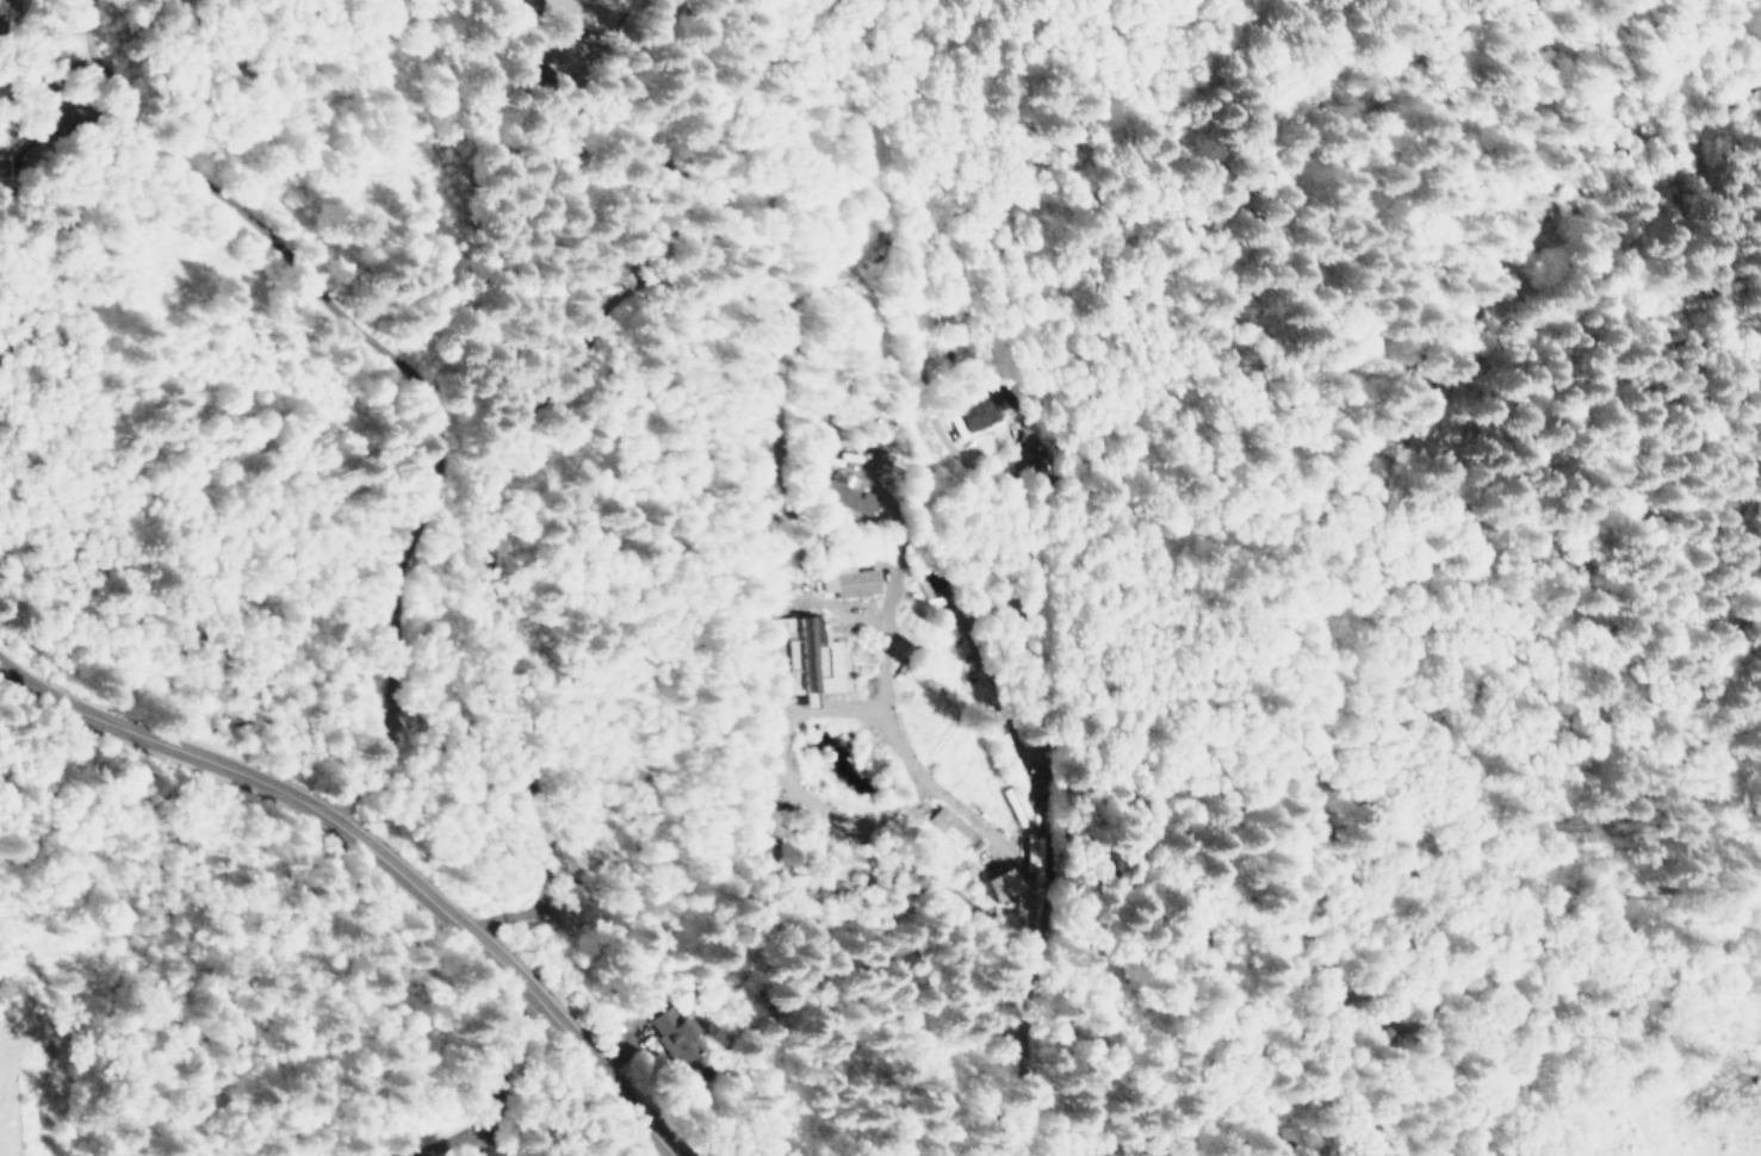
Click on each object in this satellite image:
building: (569, 7)
building: (984, 408)
road: (433, 434)
building: (848, 492)
building: (850, 582)
road: (1044, 696)
road: (886, 721)
building: (1018, 804)
building: (951, 826)
road: (382, 847)
building: (1010, 883)
building: (676, 1032)
road: (510, 1102)

